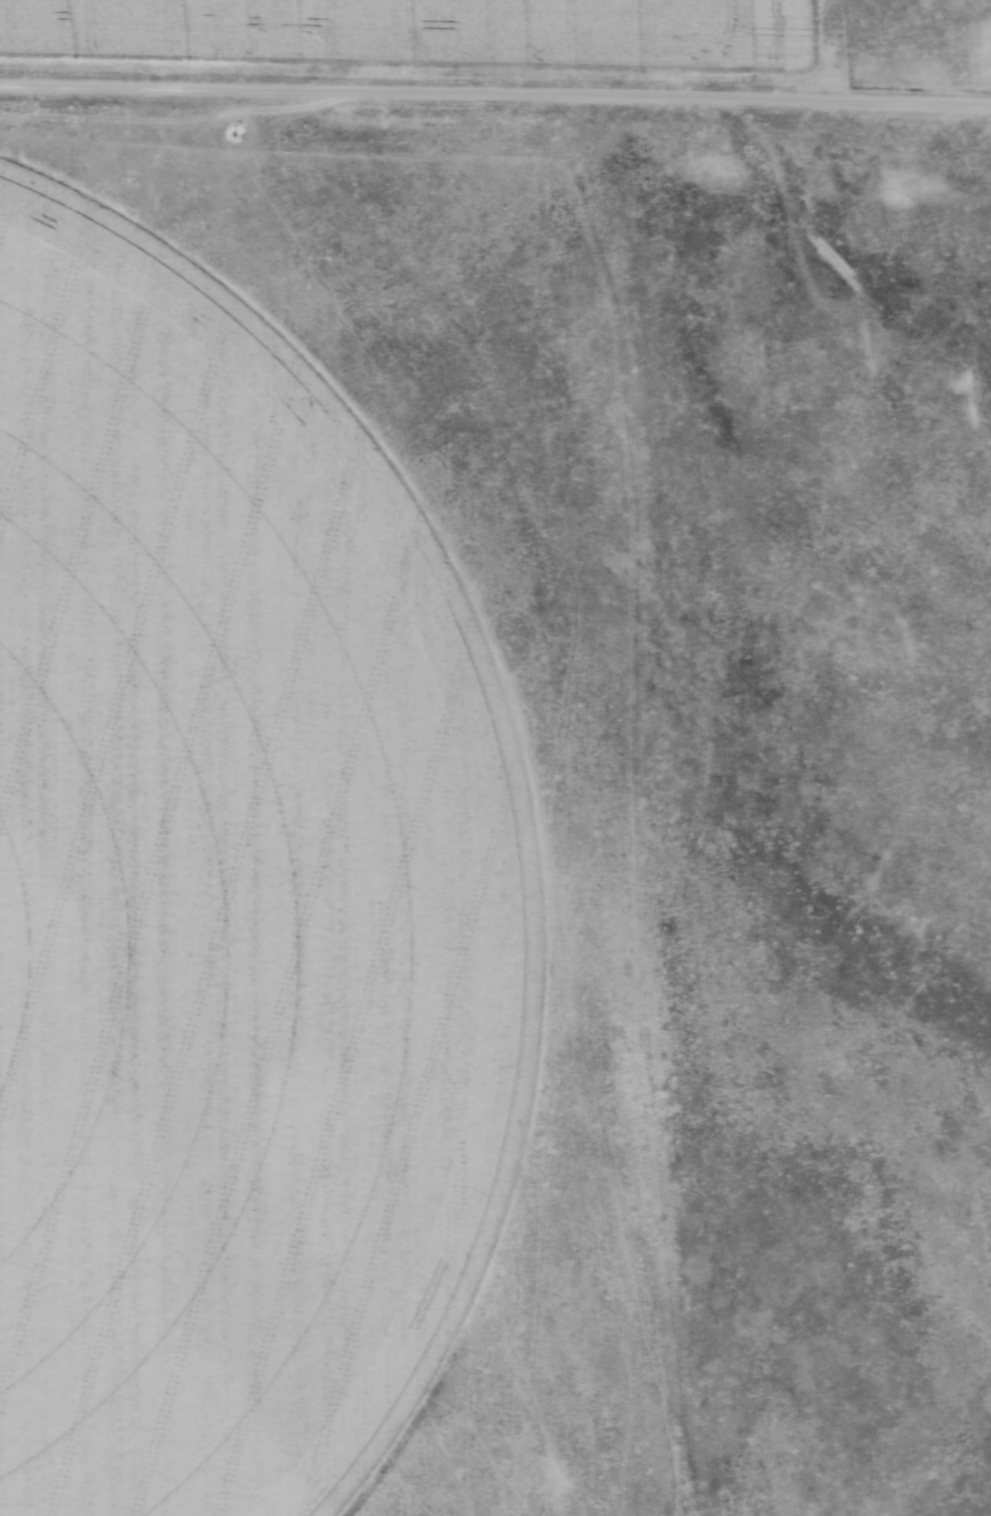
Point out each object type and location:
crop: (389, 30)
crop: (227, 901)

